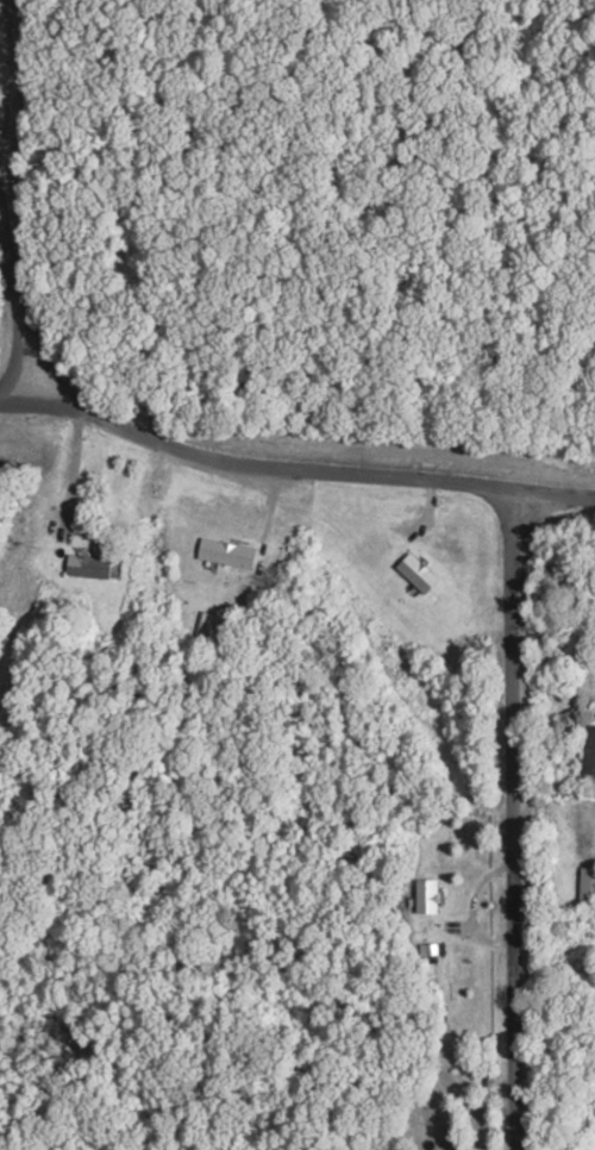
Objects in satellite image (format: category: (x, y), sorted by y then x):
road: (20, 293)
road: (20, 392)
road: (576, 462)
road: (312, 467)
building: (228, 554)
building: (93, 567)
building: (420, 571)
building: (590, 749)
road: (514, 819)
building: (588, 890)
building: (427, 896)

